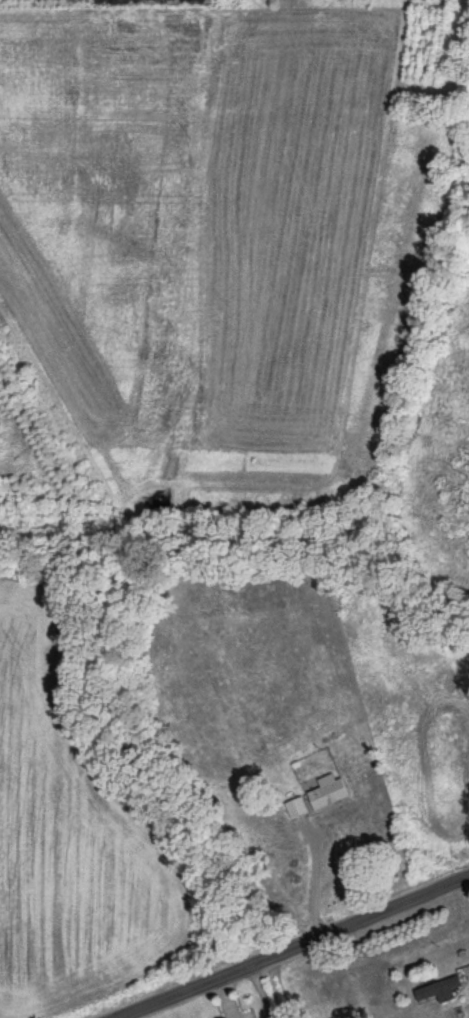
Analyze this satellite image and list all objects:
road: (315, 883)
road: (295, 950)
building: (447, 988)
road: (267, 991)

